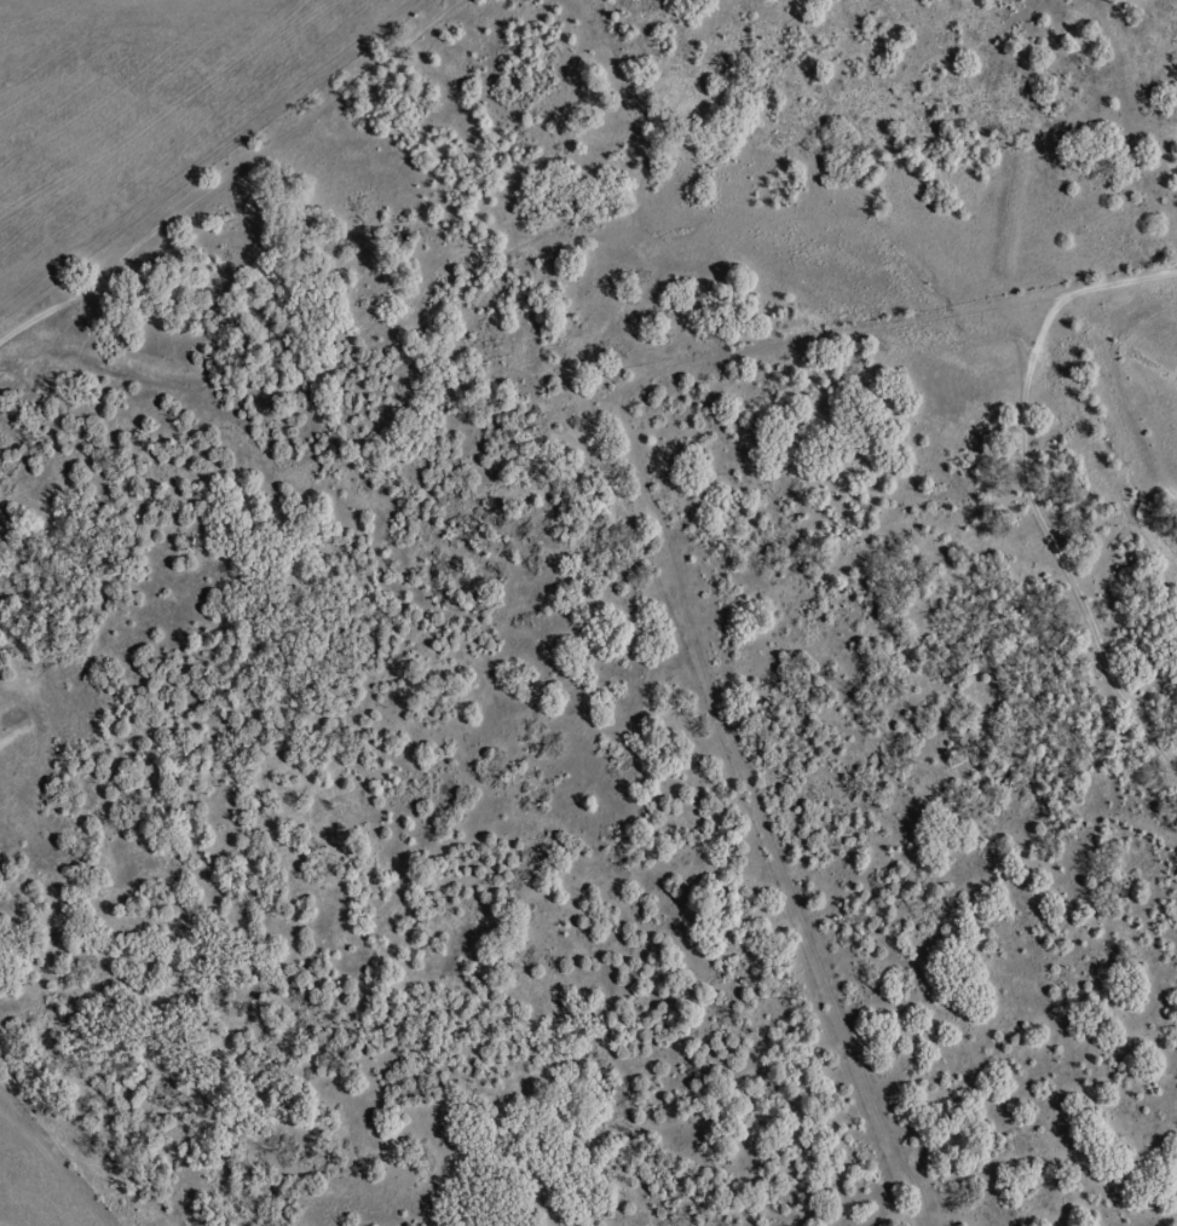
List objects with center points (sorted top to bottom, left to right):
road: (202, 156)

